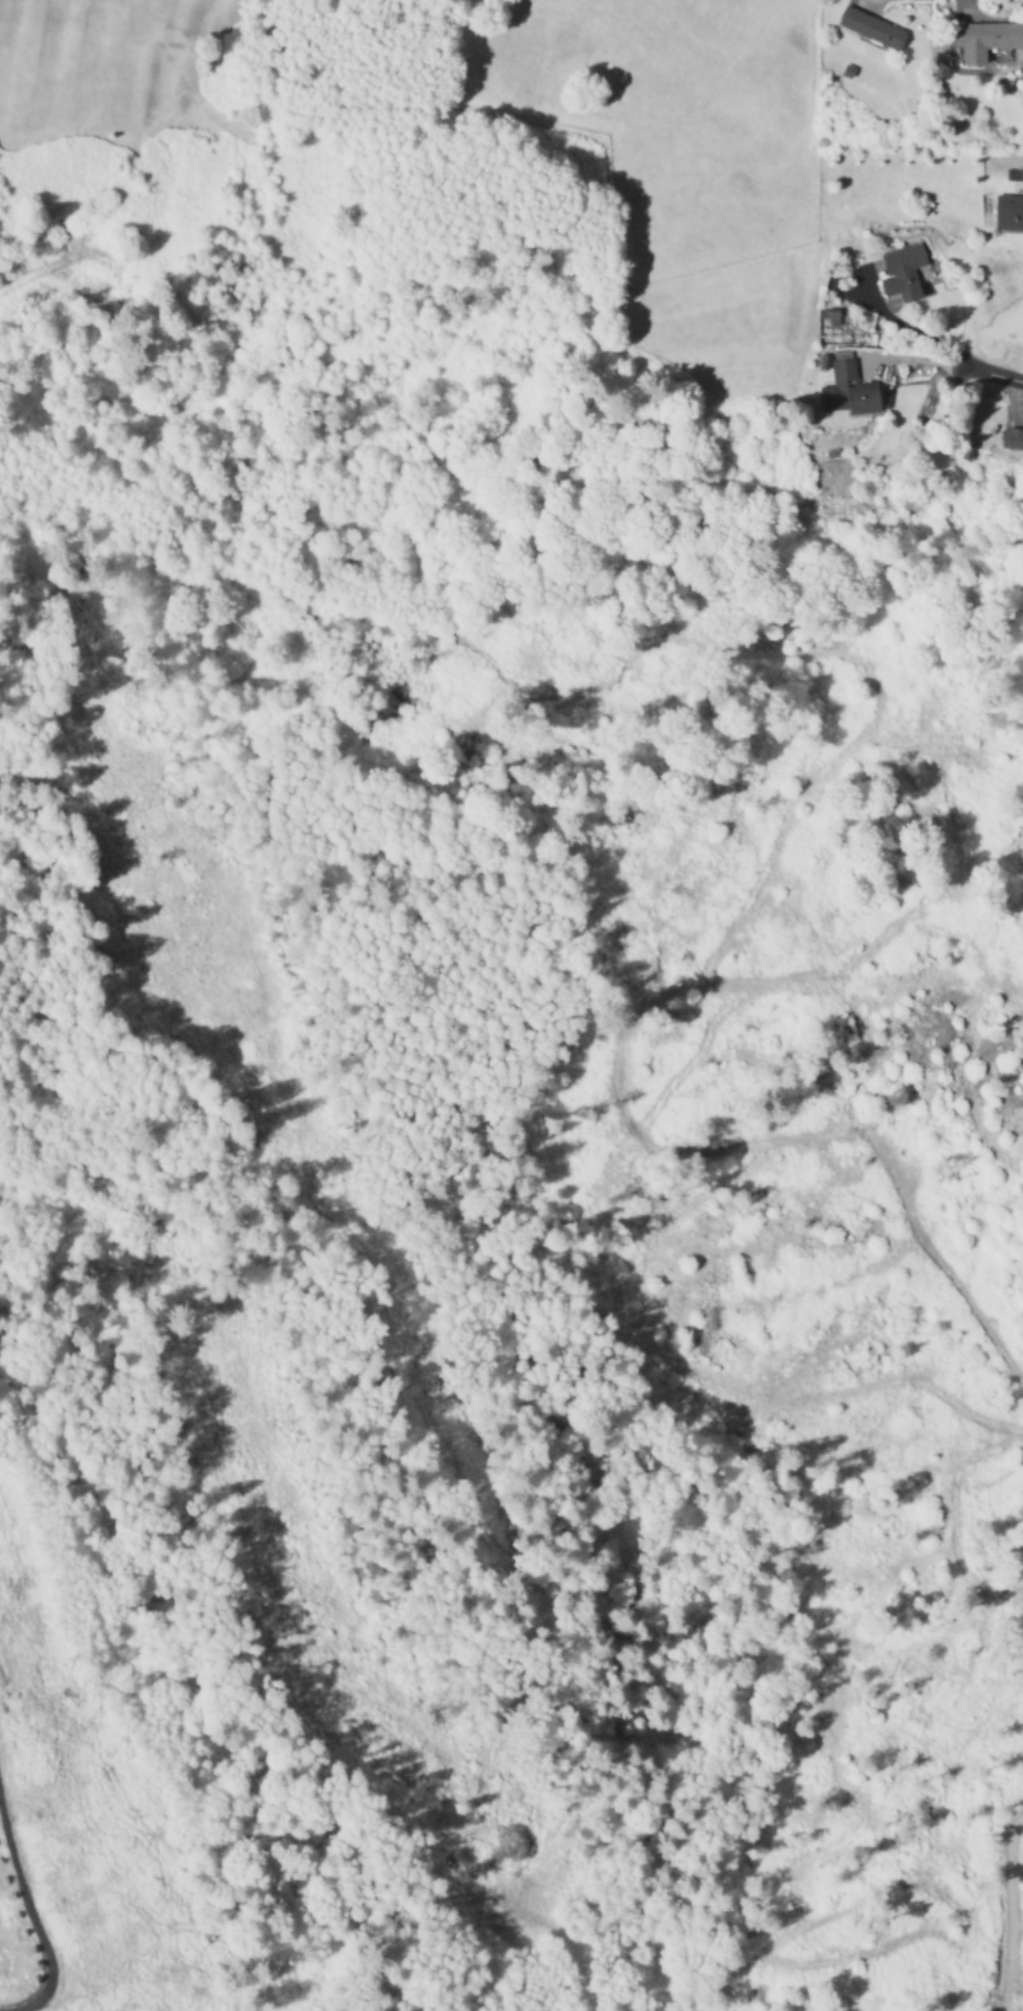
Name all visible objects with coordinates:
building: (872, 30)
building: (988, 42)
building: (1008, 215)
building: (903, 272)
road: (906, 329)
road: (987, 373)
building: (852, 391)
building: (1013, 439)
road: (30, 1906)

